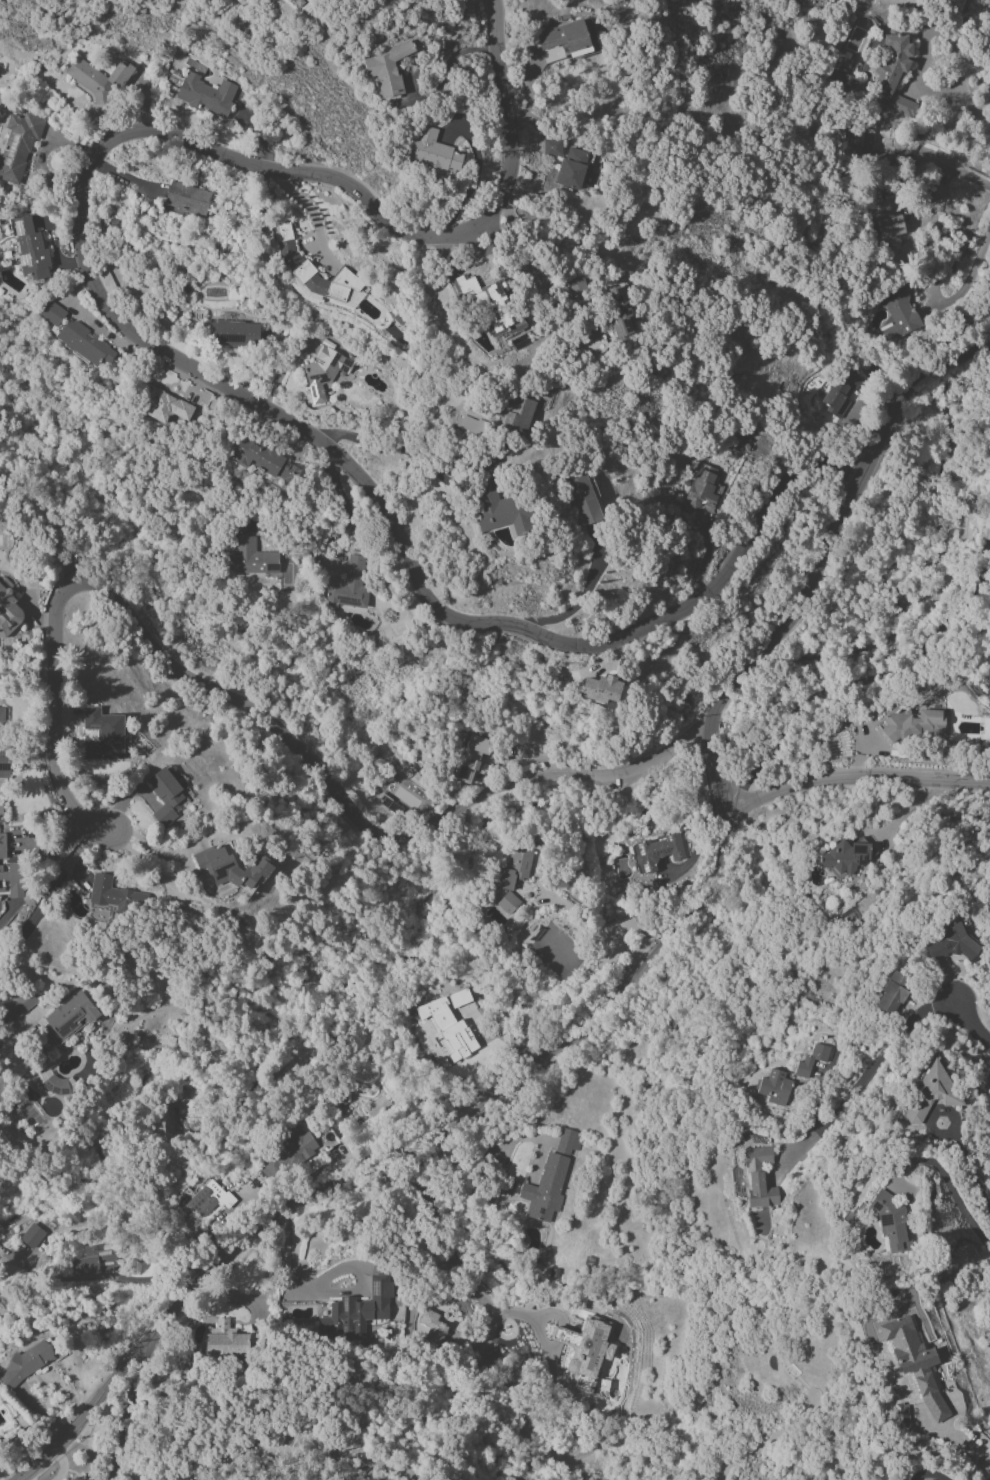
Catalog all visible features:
road: (921, 37)
road: (447, 65)
building: (385, 70)
building: (892, 73)
building: (96, 77)
building: (841, 79)
building: (206, 95)
road: (970, 110)
building: (875, 139)
building: (18, 145)
building: (551, 147)
building: (434, 151)
building: (572, 168)
road: (957, 172)
road: (469, 187)
building: (936, 190)
building: (186, 200)
building: (30, 249)
building: (314, 274)
road: (965, 283)
building: (576, 288)
building: (489, 305)
building: (618, 311)
building: (898, 313)
building: (234, 334)
building: (75, 336)
road: (151, 344)
building: (324, 371)
building: (839, 389)
building: (164, 406)
building: (518, 415)
building: (468, 427)
road: (399, 451)
building: (263, 461)
road: (839, 462)
building: (702, 489)
building: (583, 500)
building: (499, 512)
road: (343, 522)
road: (42, 526)
road: (835, 528)
building: (251, 558)
building: (349, 583)
road: (574, 607)
building: (7, 608)
road: (863, 681)
building: (601, 690)
road: (56, 715)
building: (1, 719)
building: (911, 724)
building: (103, 735)
building: (472, 758)
road: (715, 765)
building: (4, 766)
road: (853, 779)
building: (166, 795)
building: (401, 800)
road: (364, 818)
building: (656, 853)
road: (158, 855)
building: (846, 857)
building: (231, 868)
building: (9, 874)
building: (513, 876)
road: (46, 895)
building: (114, 895)
building: (952, 941)
building: (892, 993)
building: (17, 1007)
building: (68, 1018)
building: (451, 1022)
road: (971, 1023)
road: (861, 1075)
building: (933, 1092)
building: (566, 1141)
building: (297, 1146)
road: (406, 1162)
road: (969, 1164)
building: (758, 1178)
road: (949, 1187)
building: (546, 1188)
building: (201, 1201)
building: (886, 1220)
building: (32, 1236)
road: (455, 1260)
building: (91, 1262)
road: (305, 1286)
road: (229, 1294)
building: (356, 1312)
building: (433, 1326)
building: (226, 1340)
building: (585, 1351)
building: (914, 1362)
building: (25, 1363)
building: (899, 1416)
road: (125, 1419)
road: (968, 1438)
road: (985, 1467)
road: (926, 1475)
building: (76, 1478)

